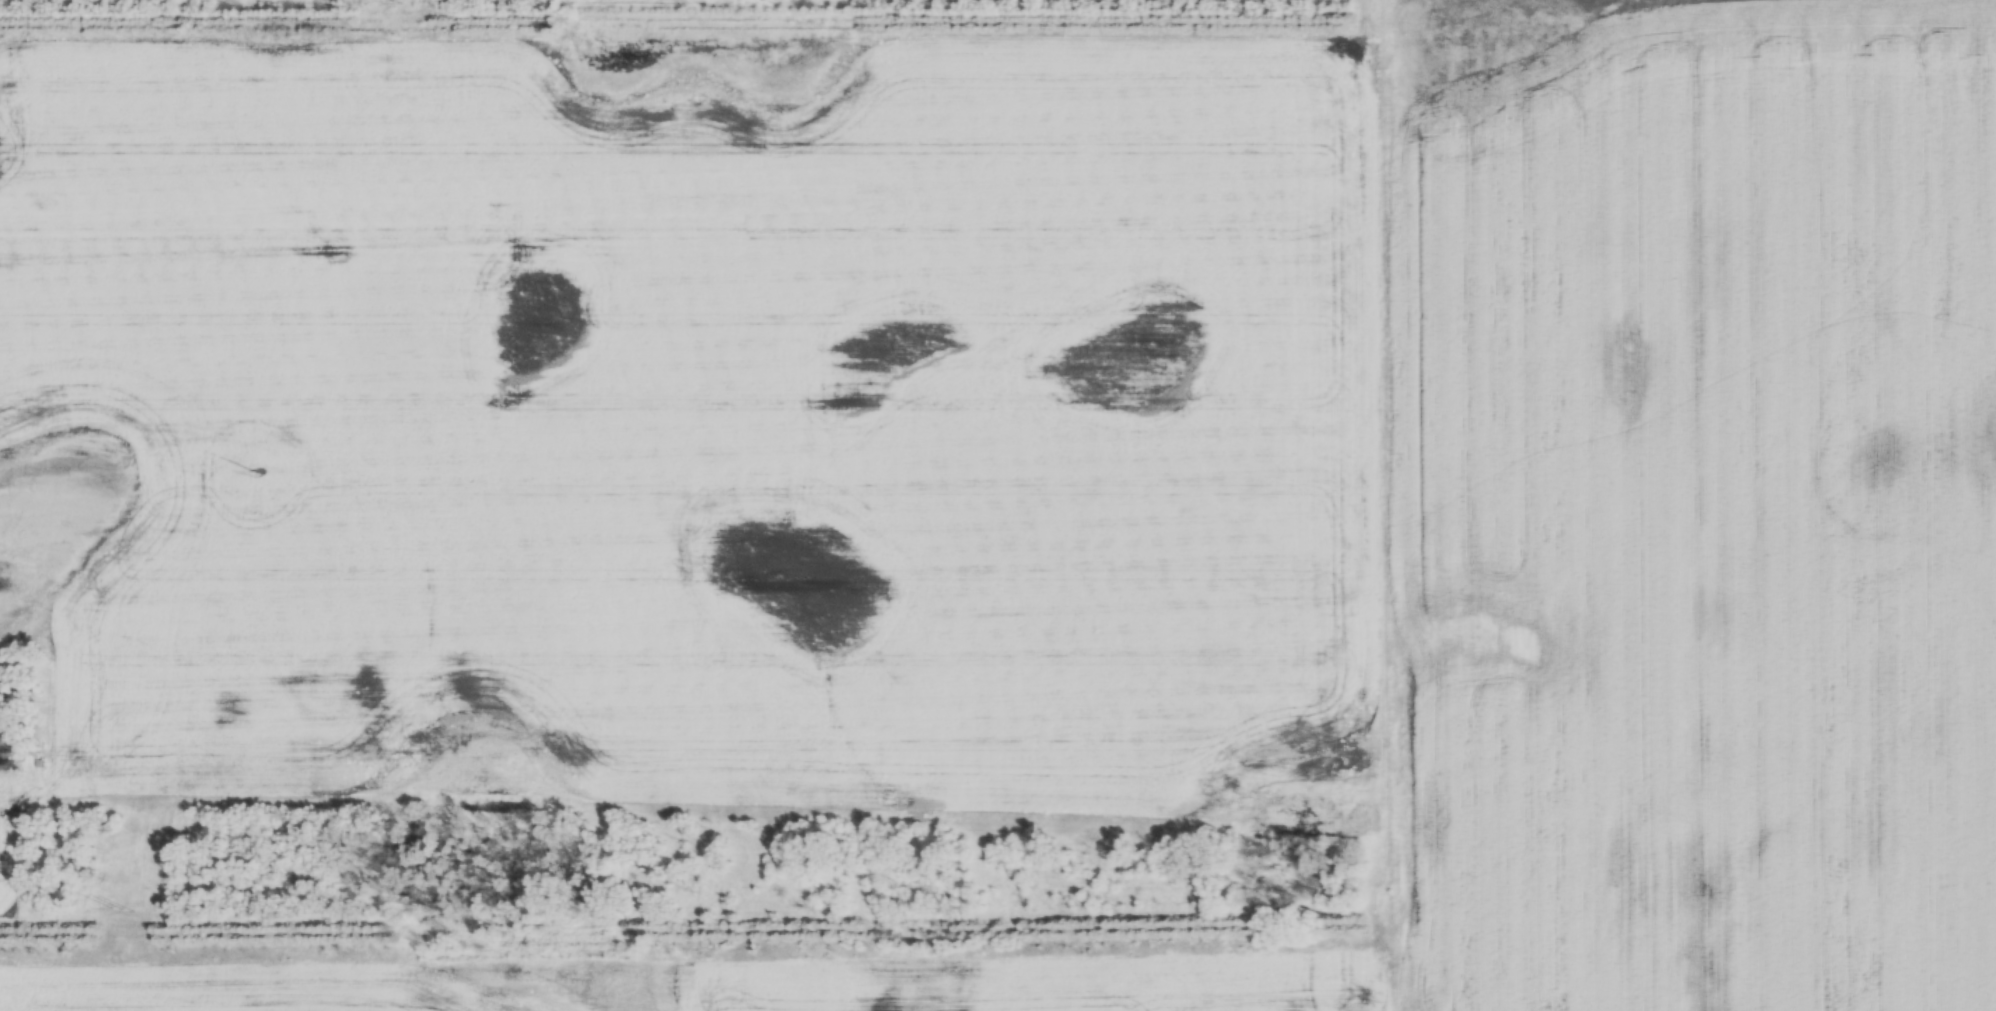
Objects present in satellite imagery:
power tower: (396, 0)
power tower: (255, 472)
power tower: (120, 911)

